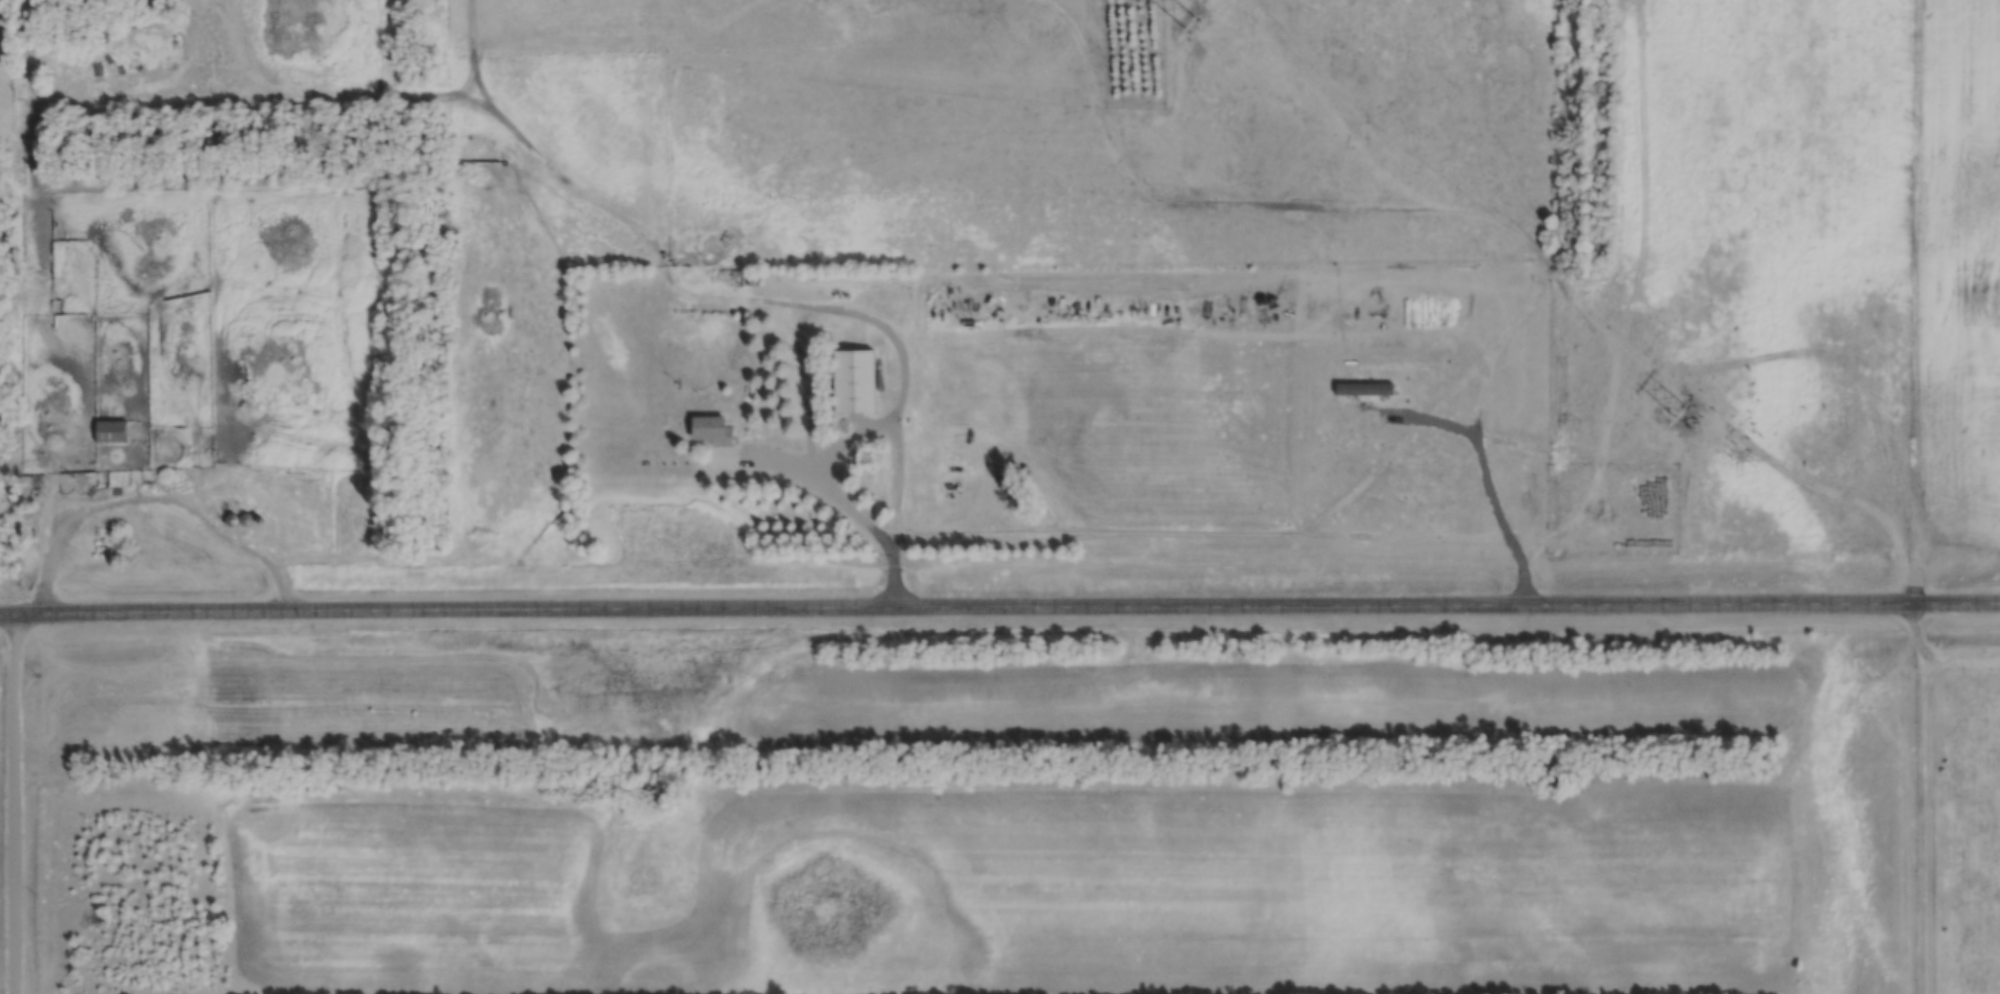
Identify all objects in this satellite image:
power tower: (1190, 20)
road: (1532, 308)
road: (801, 331)
building: (852, 380)
power tower: (1691, 419)
building: (114, 432)
building: (713, 440)
road: (1924, 497)
road: (155, 501)
building: (244, 521)
road: (1243, 538)
road: (999, 613)
road: (14, 806)

